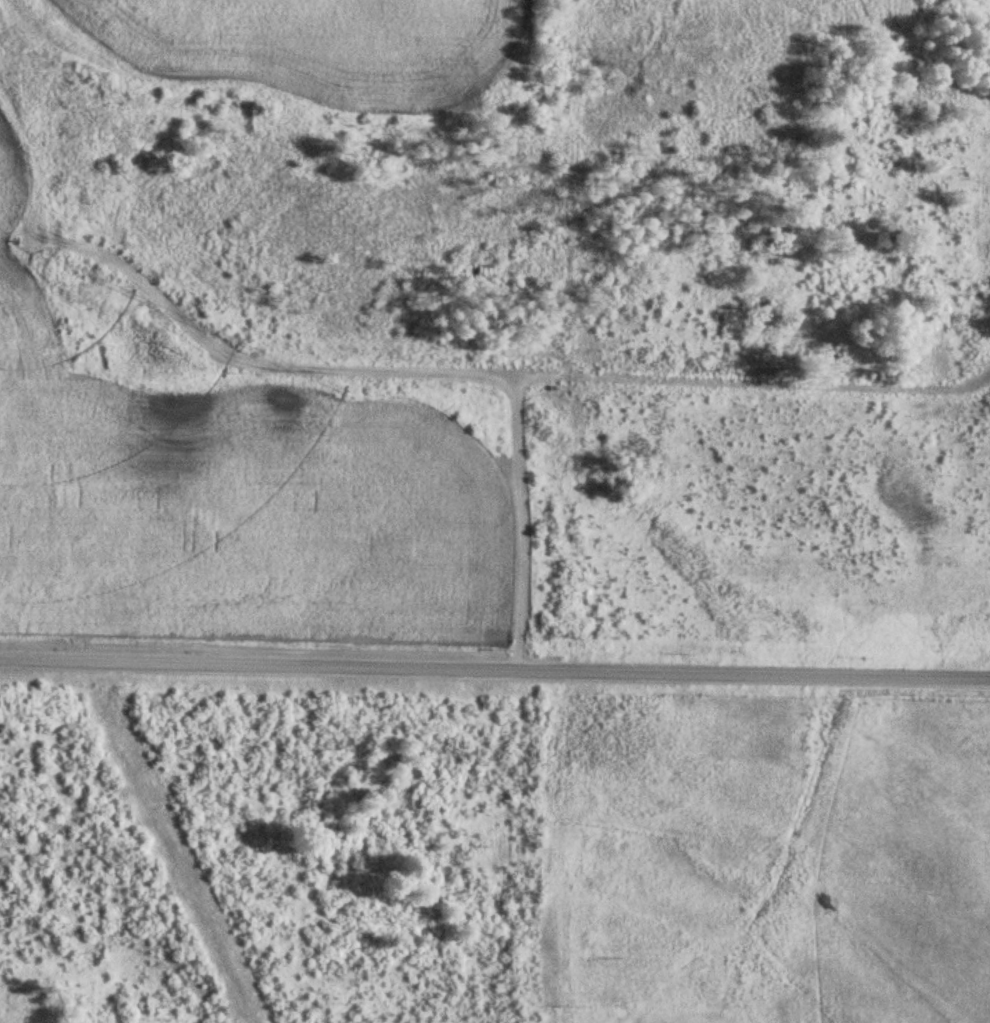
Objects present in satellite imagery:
road: (593, 406)
road: (489, 540)
road: (494, 675)

